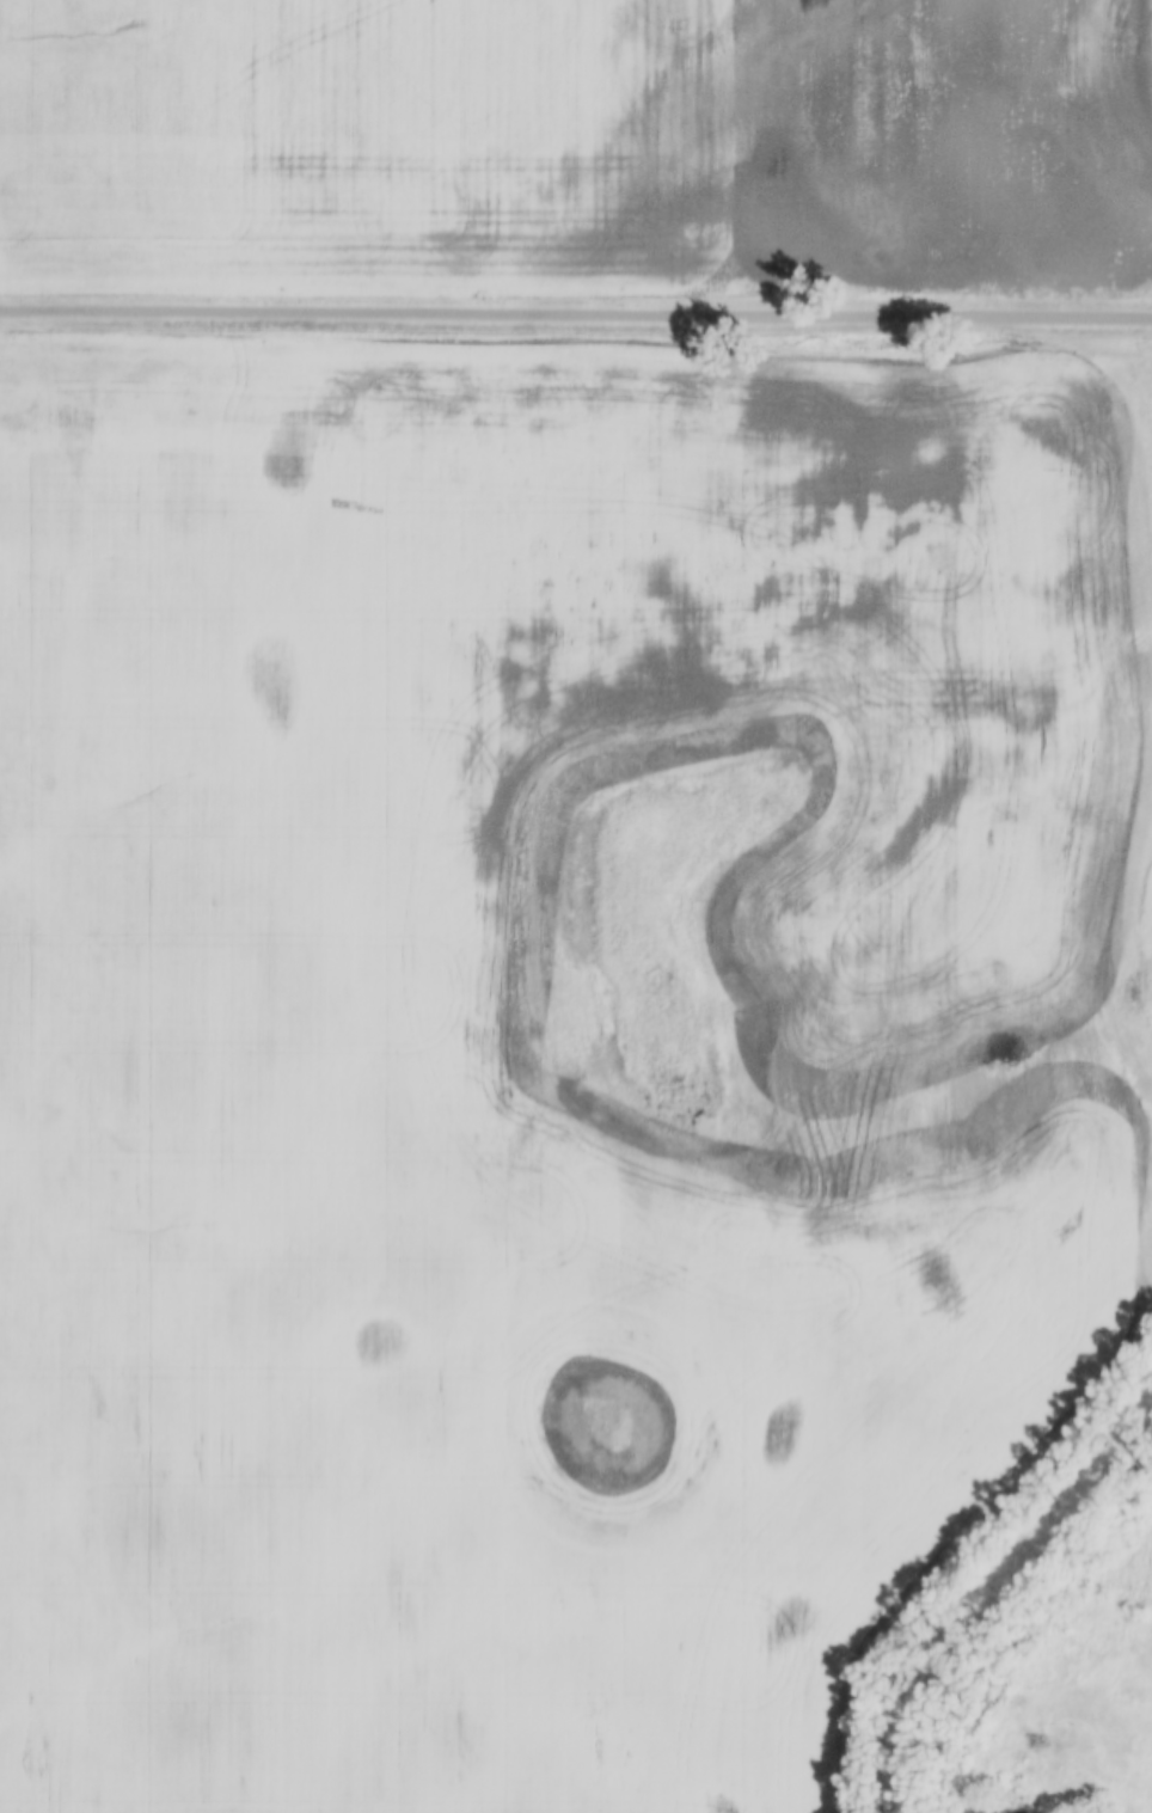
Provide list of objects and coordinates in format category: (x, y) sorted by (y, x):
road: (576, 311)
building: (1013, 1702)
building: (1019, 1734)
building: (1016, 1759)
building: (1016, 1782)

